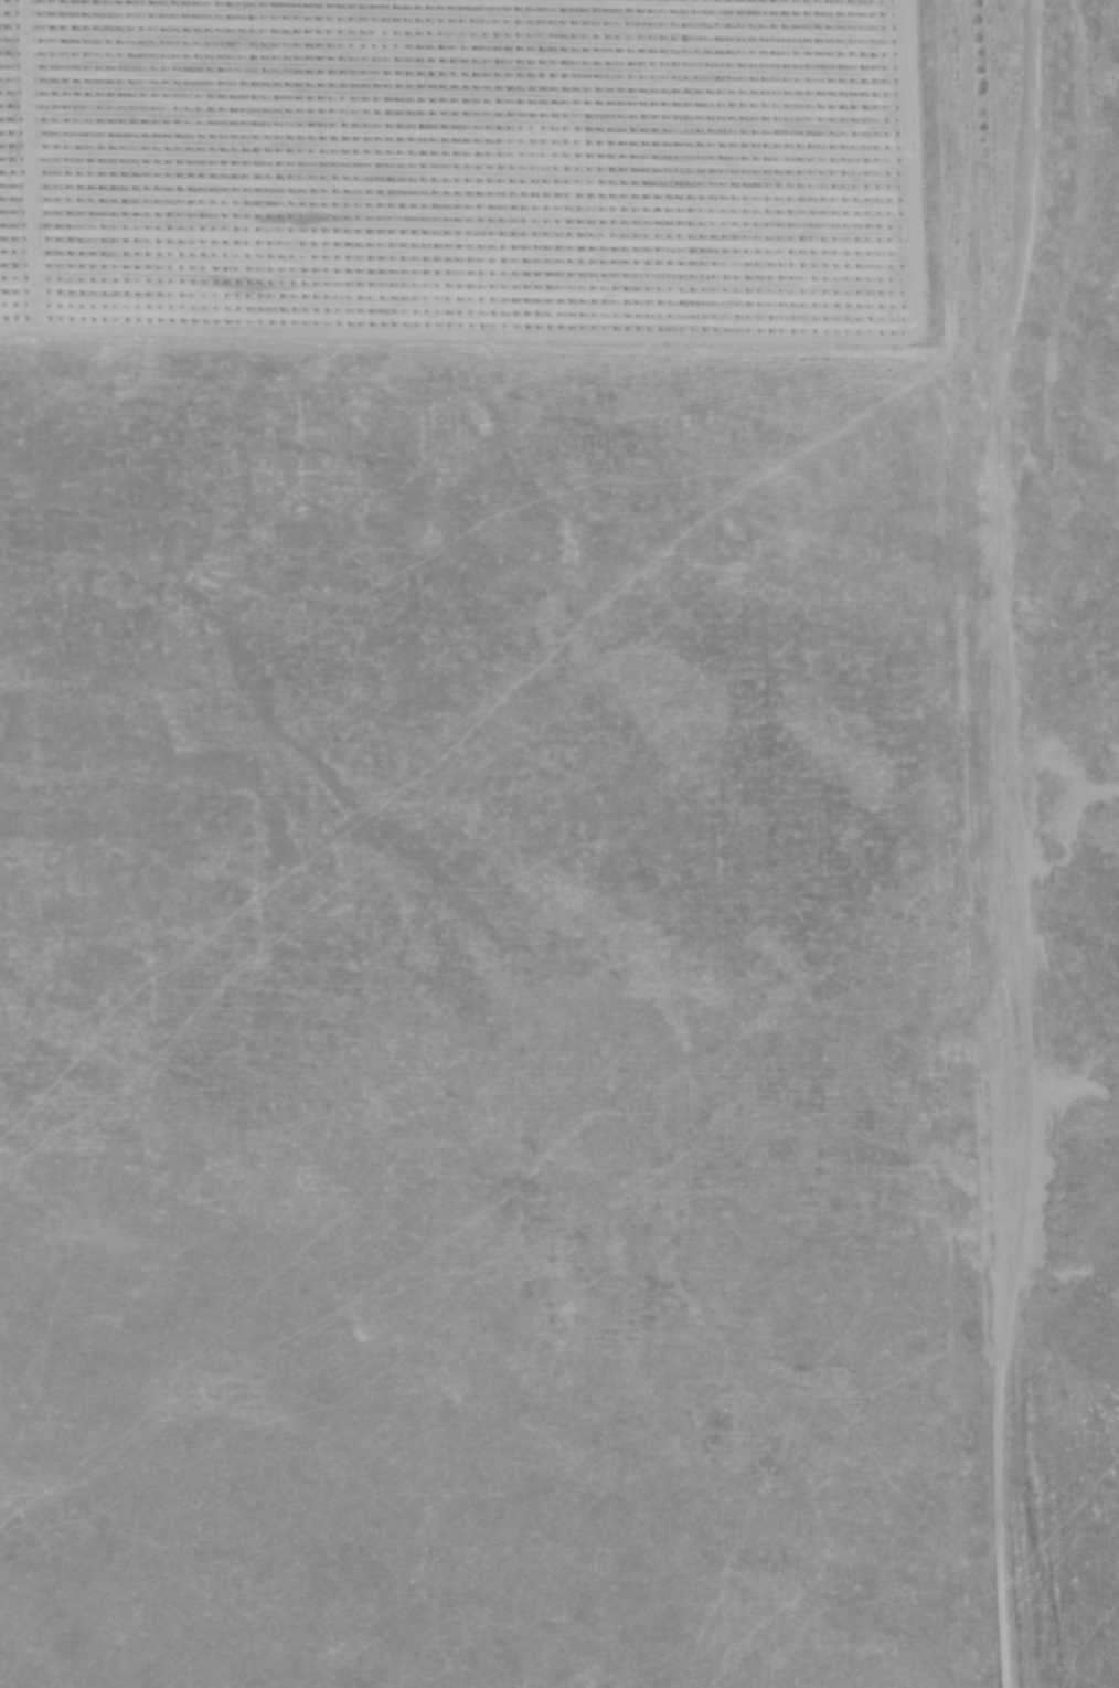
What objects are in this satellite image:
crop: (460, 171)
road: (995, 843)

